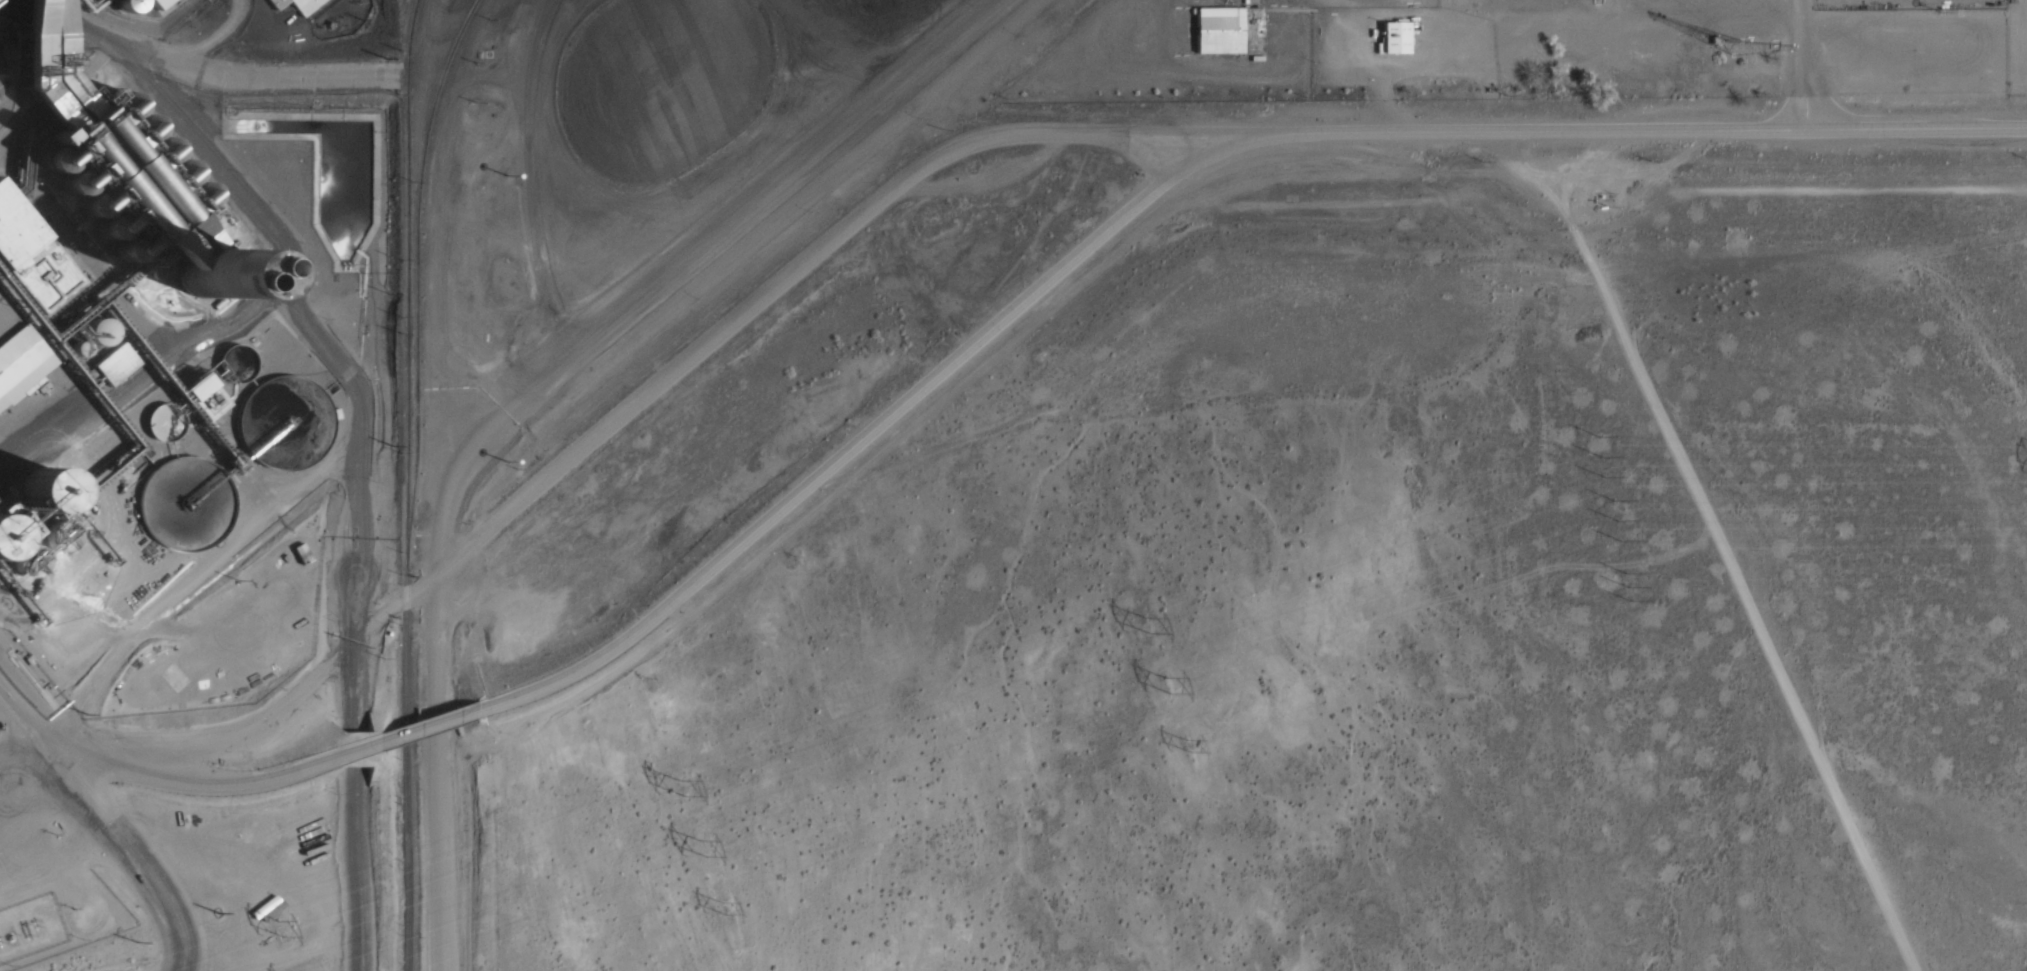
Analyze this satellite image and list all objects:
building: (298, 5)
building: (15, 7)
building: (1230, 31)
building: (49, 61)
road: (1764, 130)
railway: (427, 151)
building: (122, 185)
road: (701, 225)
power plant: (555, 249)
building: (29, 260)
chimney: (199, 279)
road: (435, 346)
road: (969, 358)
building: (17, 363)
building: (119, 364)
building: (212, 396)
building: (282, 418)
power tower: (1599, 453)
railway: (406, 484)
building: (33, 495)
storage tank: (33, 495)
building: (189, 506)
power tower: (1618, 514)
building: (1, 541)
storage tank: (1, 541)
road: (1720, 543)
power tower: (1628, 583)
power tower: (1153, 621)
power tower: (1172, 680)
road: (18, 726)
road: (430, 727)
power tower: (1194, 739)
power tower: (688, 782)
road: (209, 790)
power tower: (709, 841)
road: (122, 852)
power tower: (730, 903)
power tower: (285, 925)

